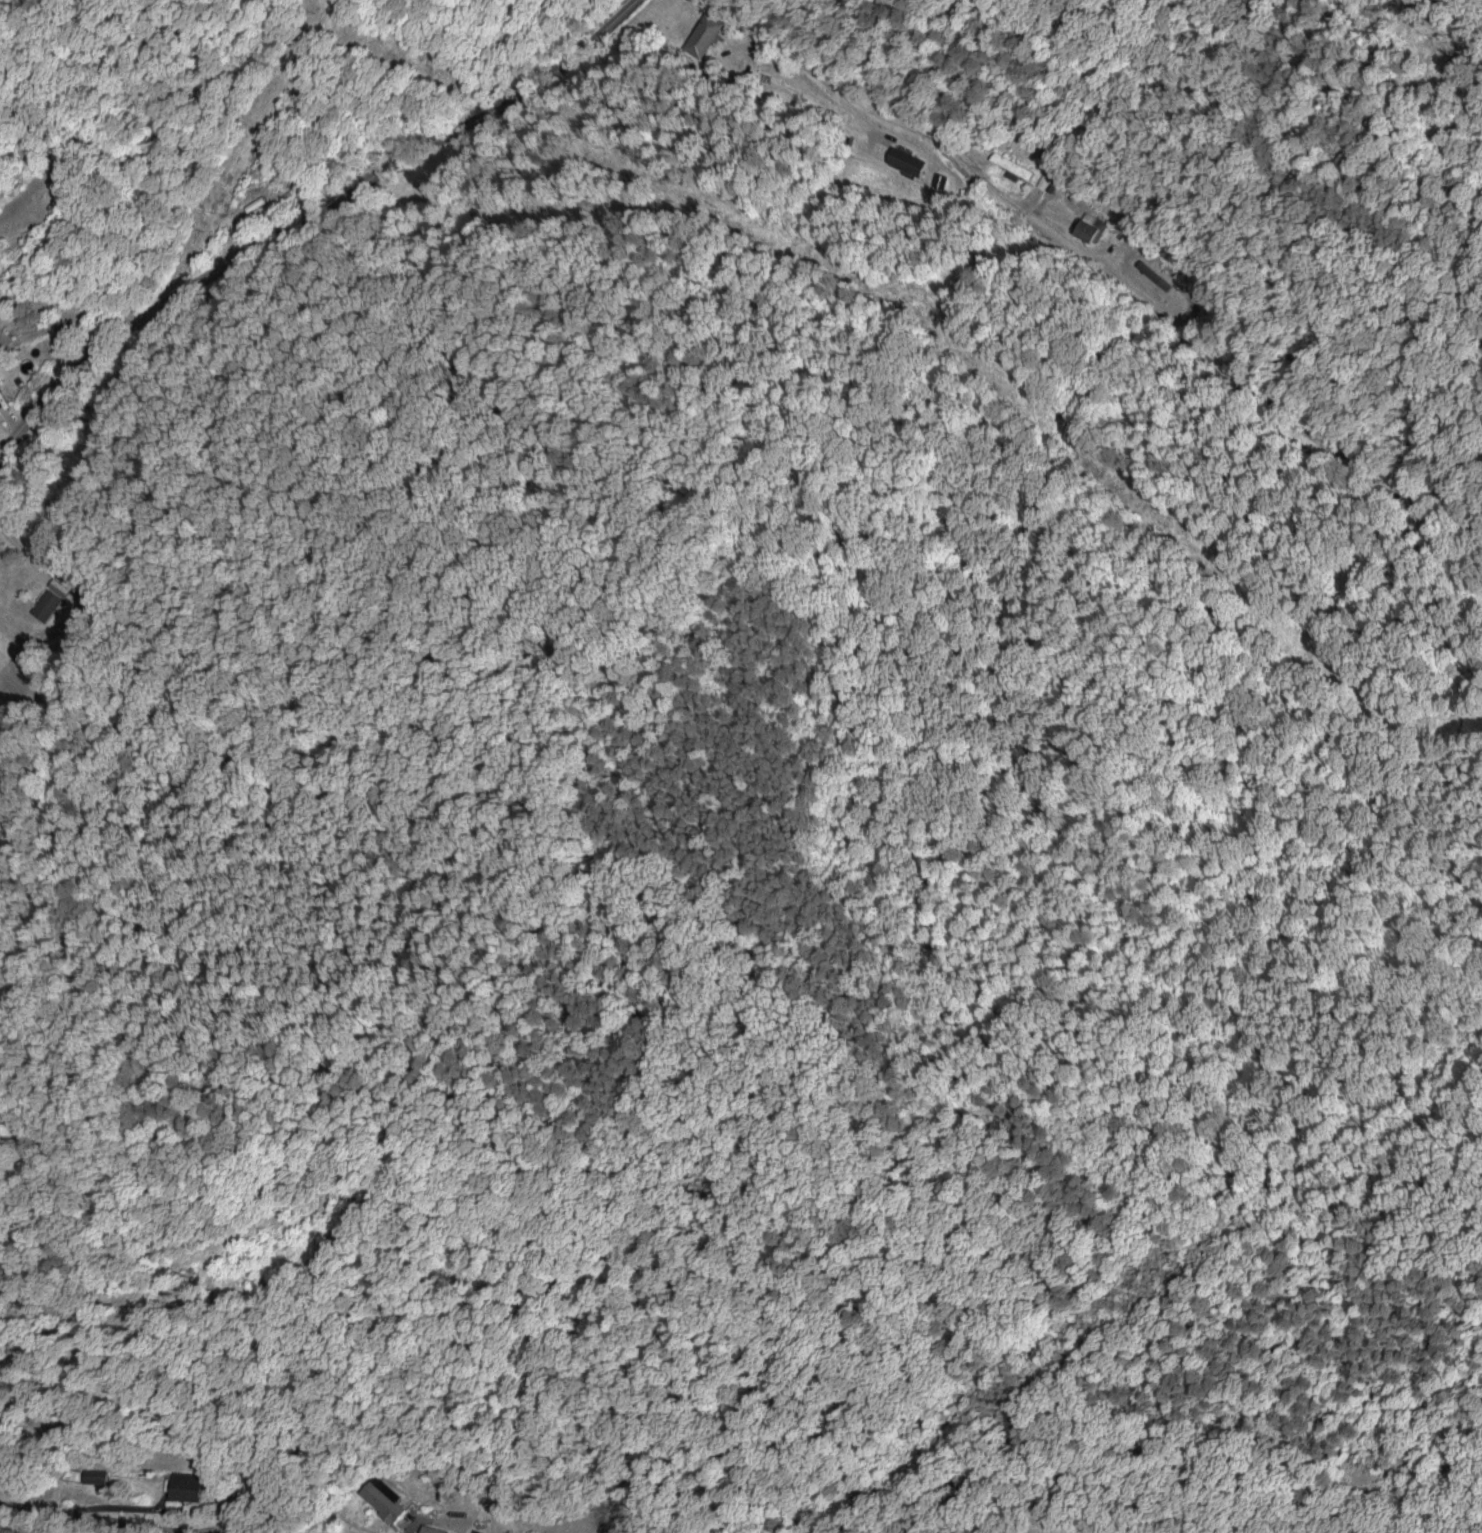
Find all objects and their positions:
building: (703, 35)
building: (905, 160)
building: (1011, 165)
road: (300, 221)
building: (1088, 226)
road: (1114, 268)
building: (46, 605)
building: (95, 1476)
building: (186, 1486)
building: (383, 1498)
road: (187, 1501)
building: (432, 1530)

